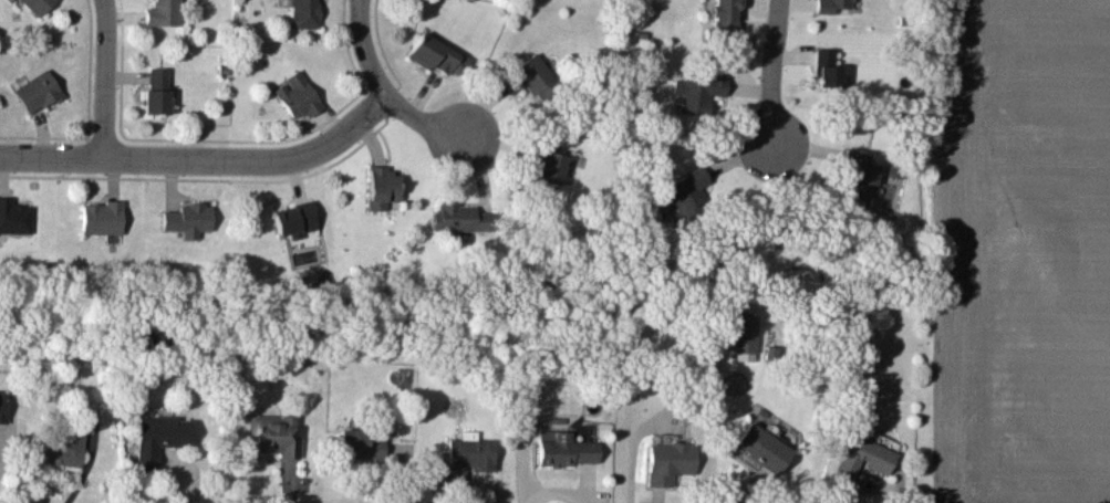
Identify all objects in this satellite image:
building: (41, 6)
building: (837, 6)
building: (165, 12)
building: (308, 13)
building: (728, 19)
building: (437, 53)
building: (832, 67)
road: (774, 73)
building: (537, 76)
road: (107, 78)
building: (704, 86)
building: (159, 90)
building: (40, 91)
road: (388, 93)
building: (300, 95)
road: (205, 160)
building: (547, 166)
building: (861, 169)
building: (385, 188)
building: (689, 192)
building: (456, 216)
building: (15, 217)
building: (104, 217)
building: (190, 219)
building: (298, 219)
building: (3, 405)
building: (276, 434)
building: (163, 437)
building: (364, 443)
building: (63, 446)
building: (767, 447)
building: (569, 448)
building: (474, 453)
road: (13, 454)
building: (867, 458)
building: (673, 462)

